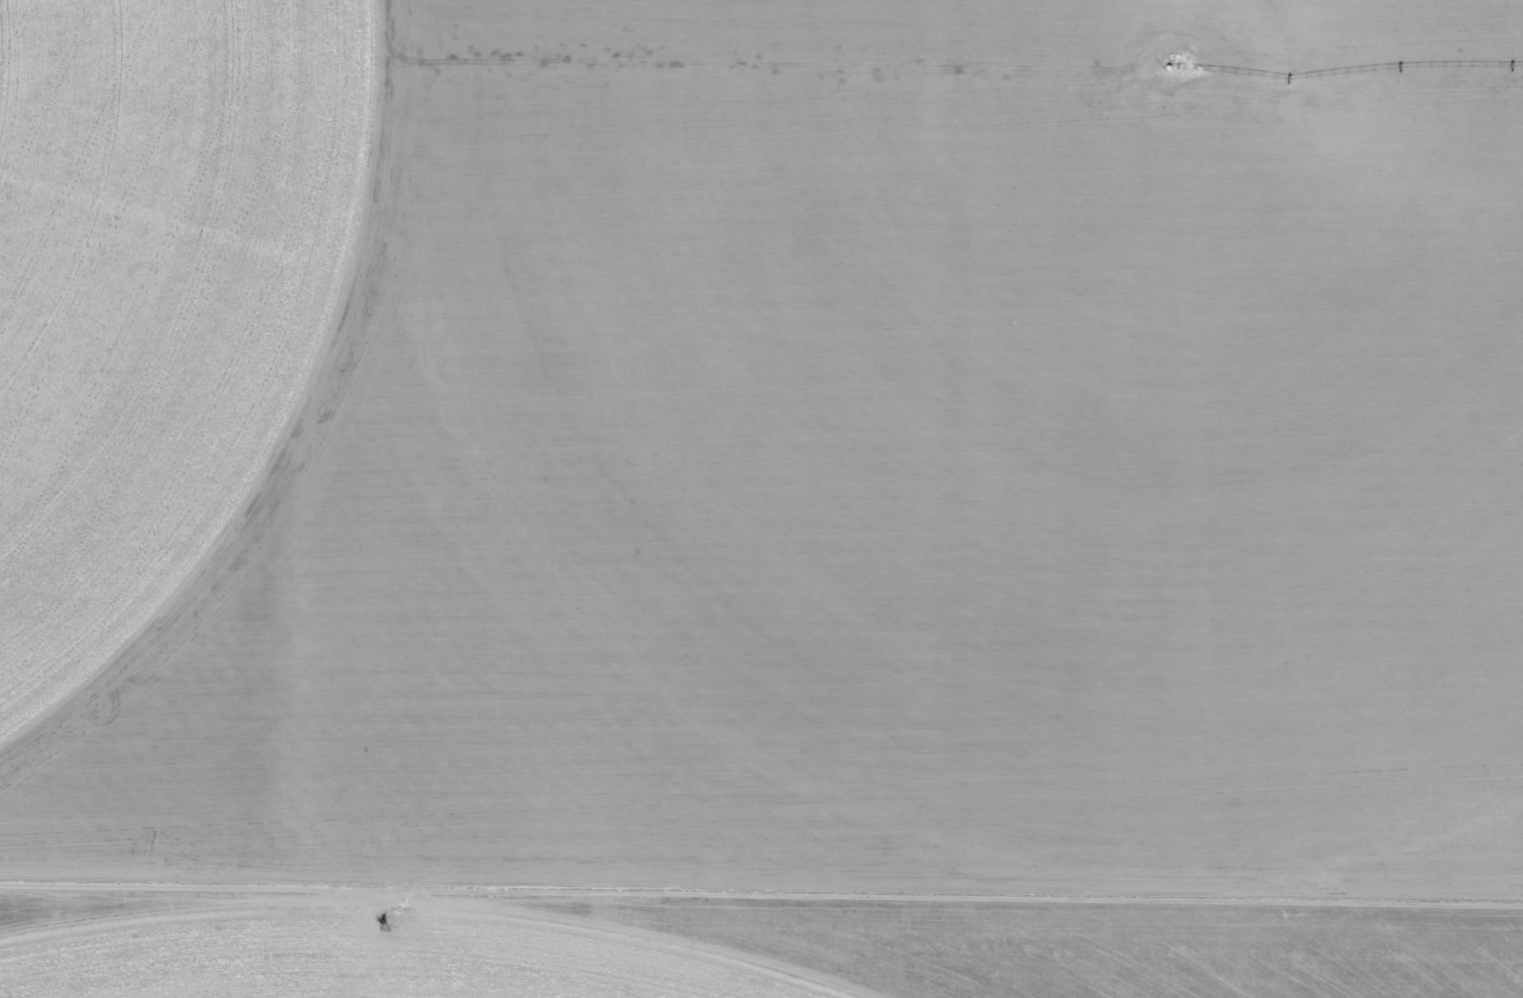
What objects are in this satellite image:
crop: (765, 443)
crop: (759, 959)

